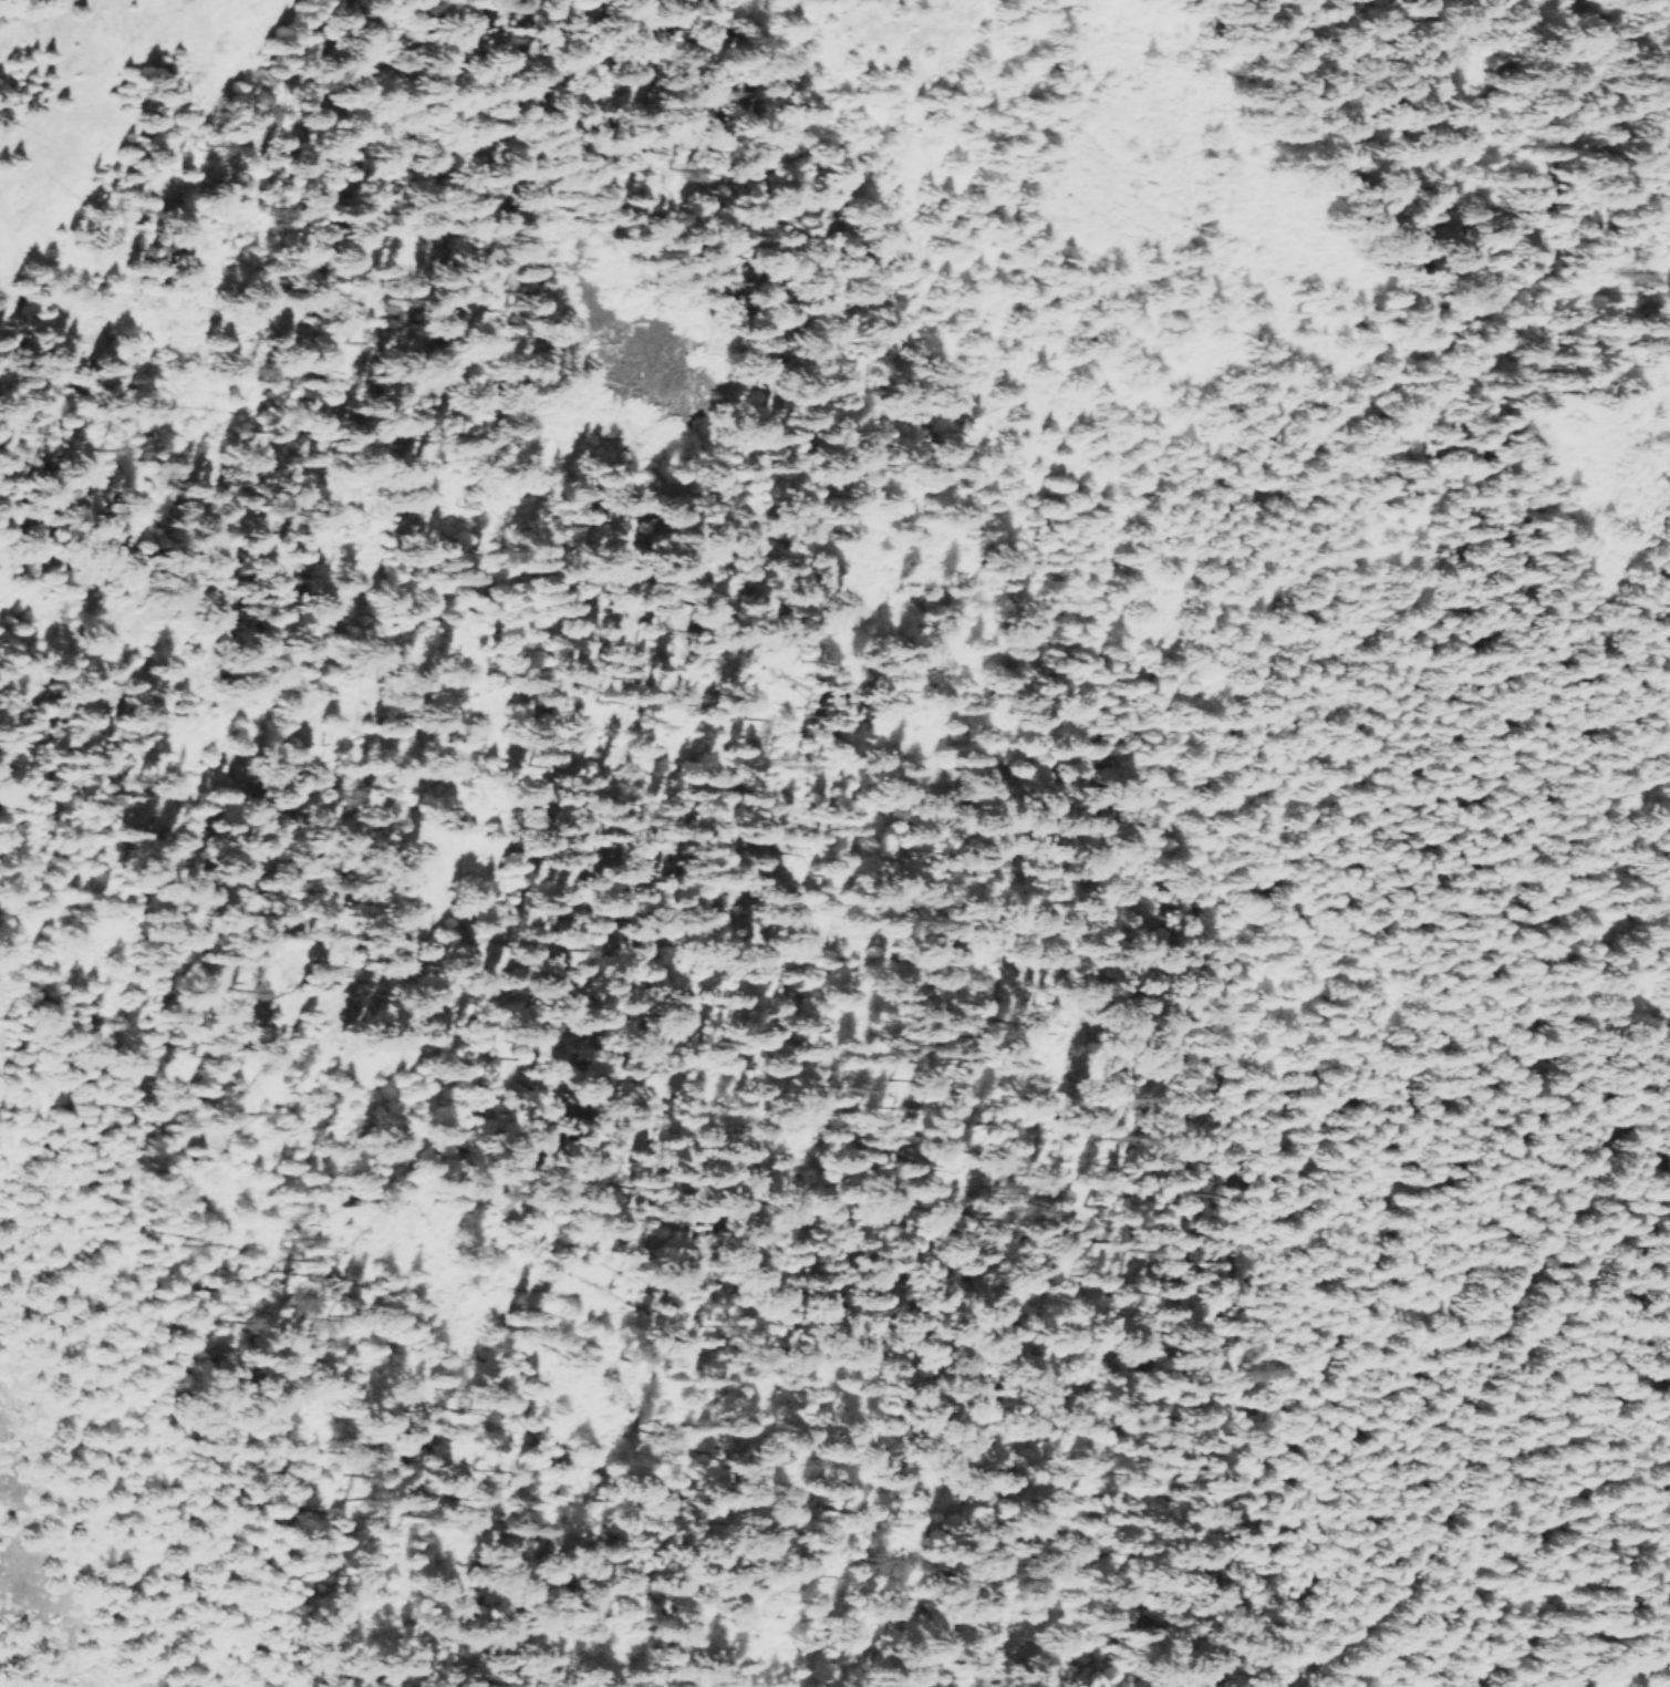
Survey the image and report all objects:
road: (1534, 1245)
road: (1629, 1676)

